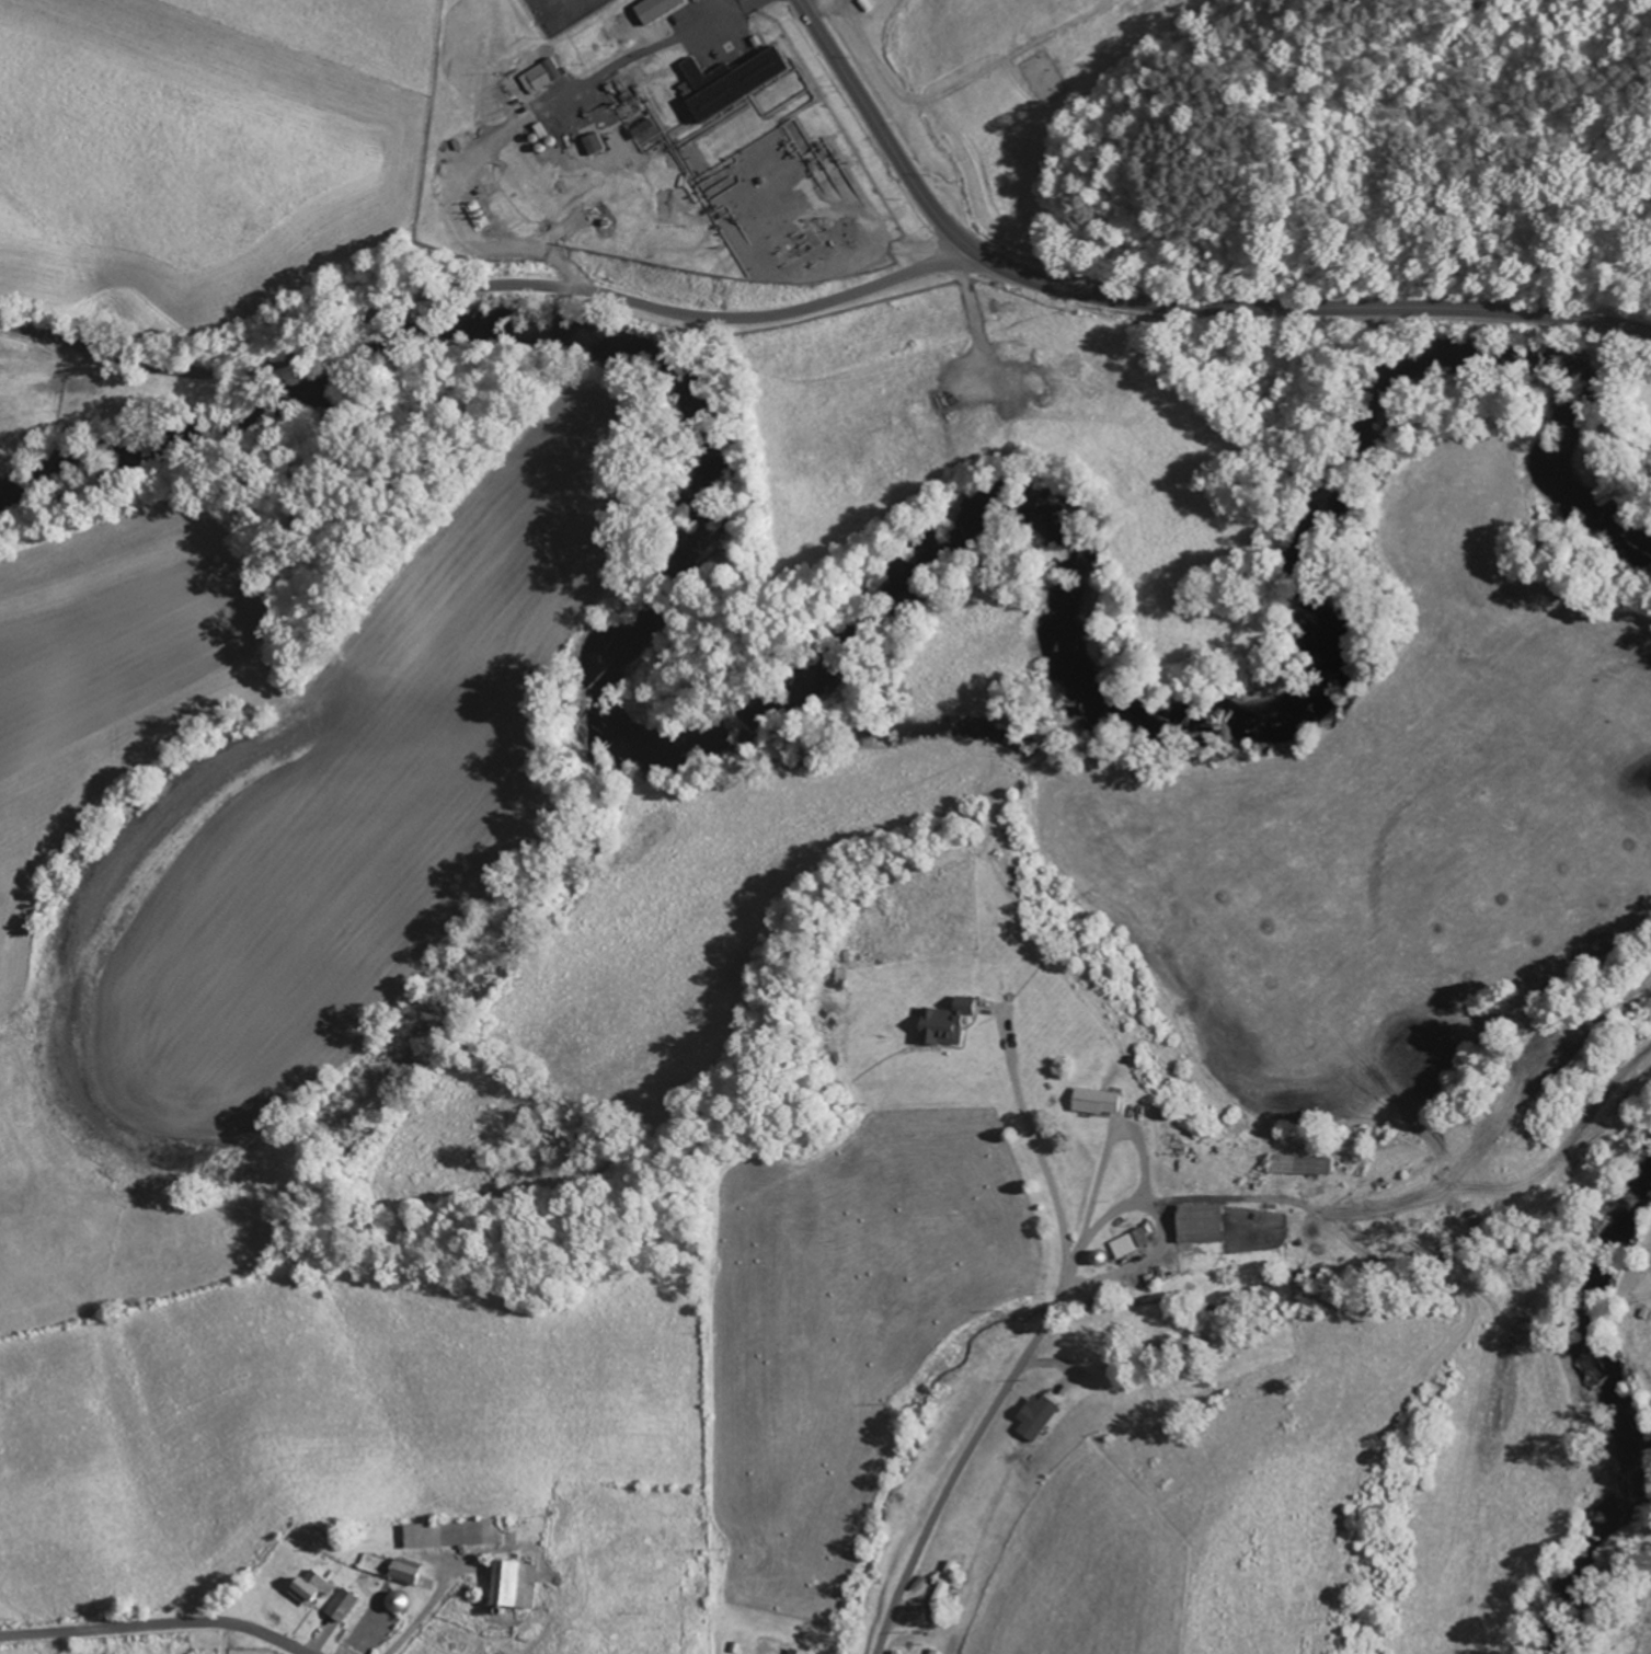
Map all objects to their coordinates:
building: (654, 8)
road: (701, 11)
power substation: (562, 12)
road: (715, 18)
building: (541, 74)
building: (743, 85)
building: (578, 148)
road: (478, 153)
road: (482, 286)
road: (1155, 302)
river: (318, 405)
building: (943, 1027)
building: (1100, 1102)
building: (1305, 1165)
road: (1174, 1198)
building: (1204, 1225)
building: (1132, 1243)
building: (454, 1534)
building: (372, 1564)
building: (409, 1572)
building: (516, 1583)
building: (945, 1584)
building: (312, 1587)
building: (400, 1603)
building: (344, 1605)
road: (157, 1622)
building: (798, 1651)

